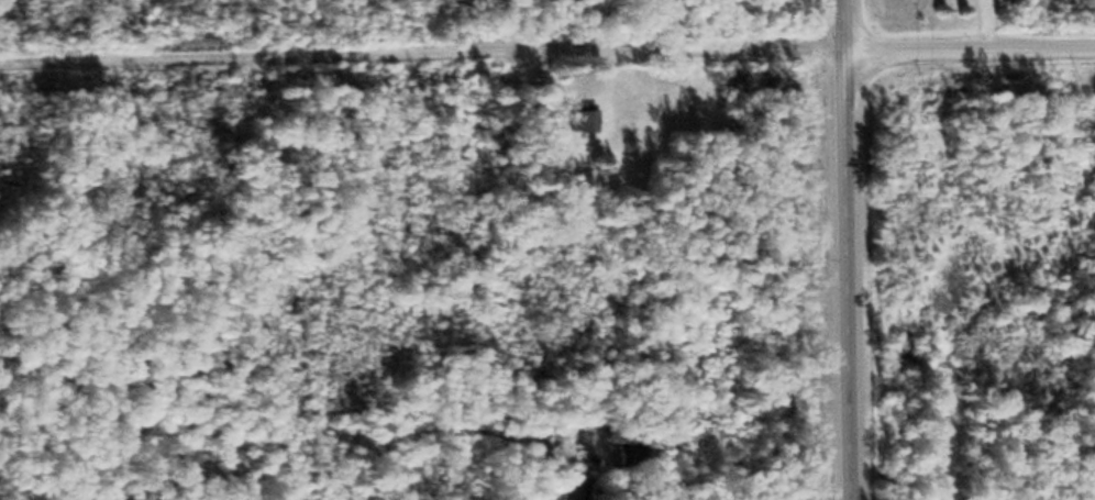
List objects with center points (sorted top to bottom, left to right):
road: (546, 49)
building: (584, 120)
road: (852, 249)
road: (223, 251)
building: (634, 452)

